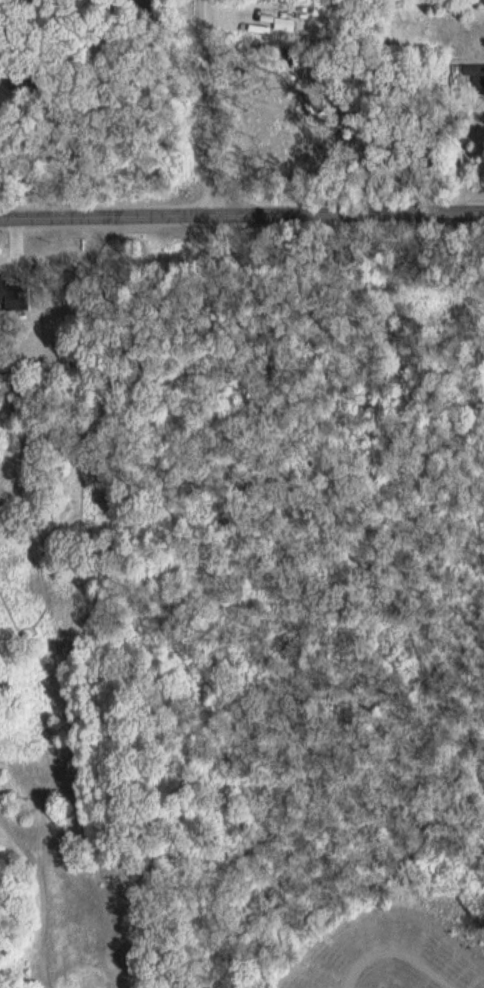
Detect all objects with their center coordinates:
building: (476, 73)
road: (217, 108)
road: (241, 216)
building: (0, 291)
park: (241, 676)

